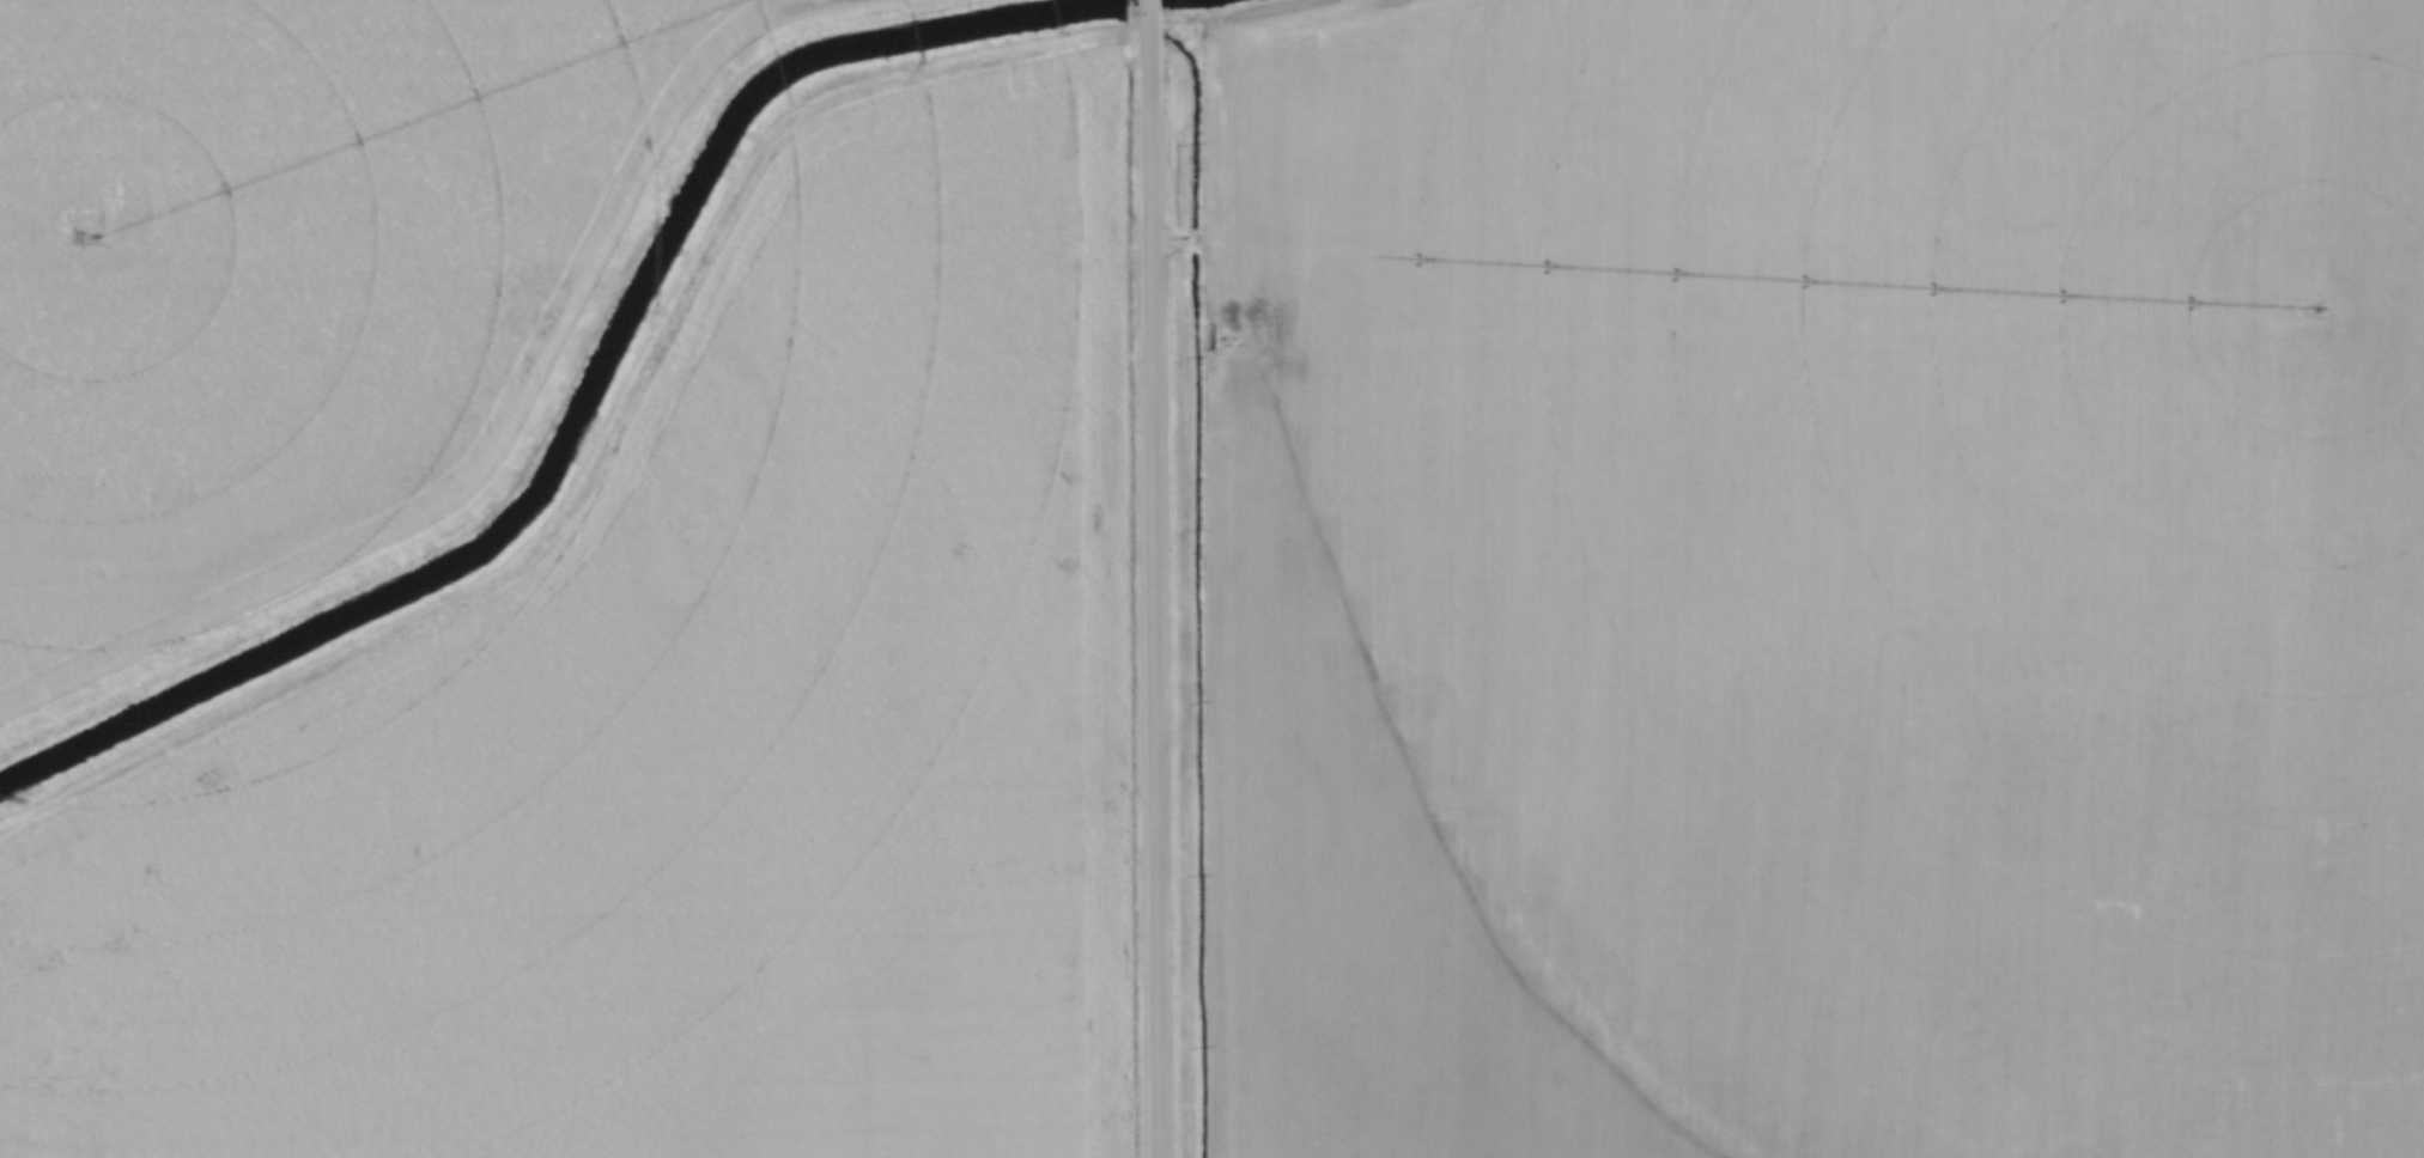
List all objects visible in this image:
crop: (296, 276)
crop: (1815, 578)
road: (1150, 579)
crop: (687, 748)

